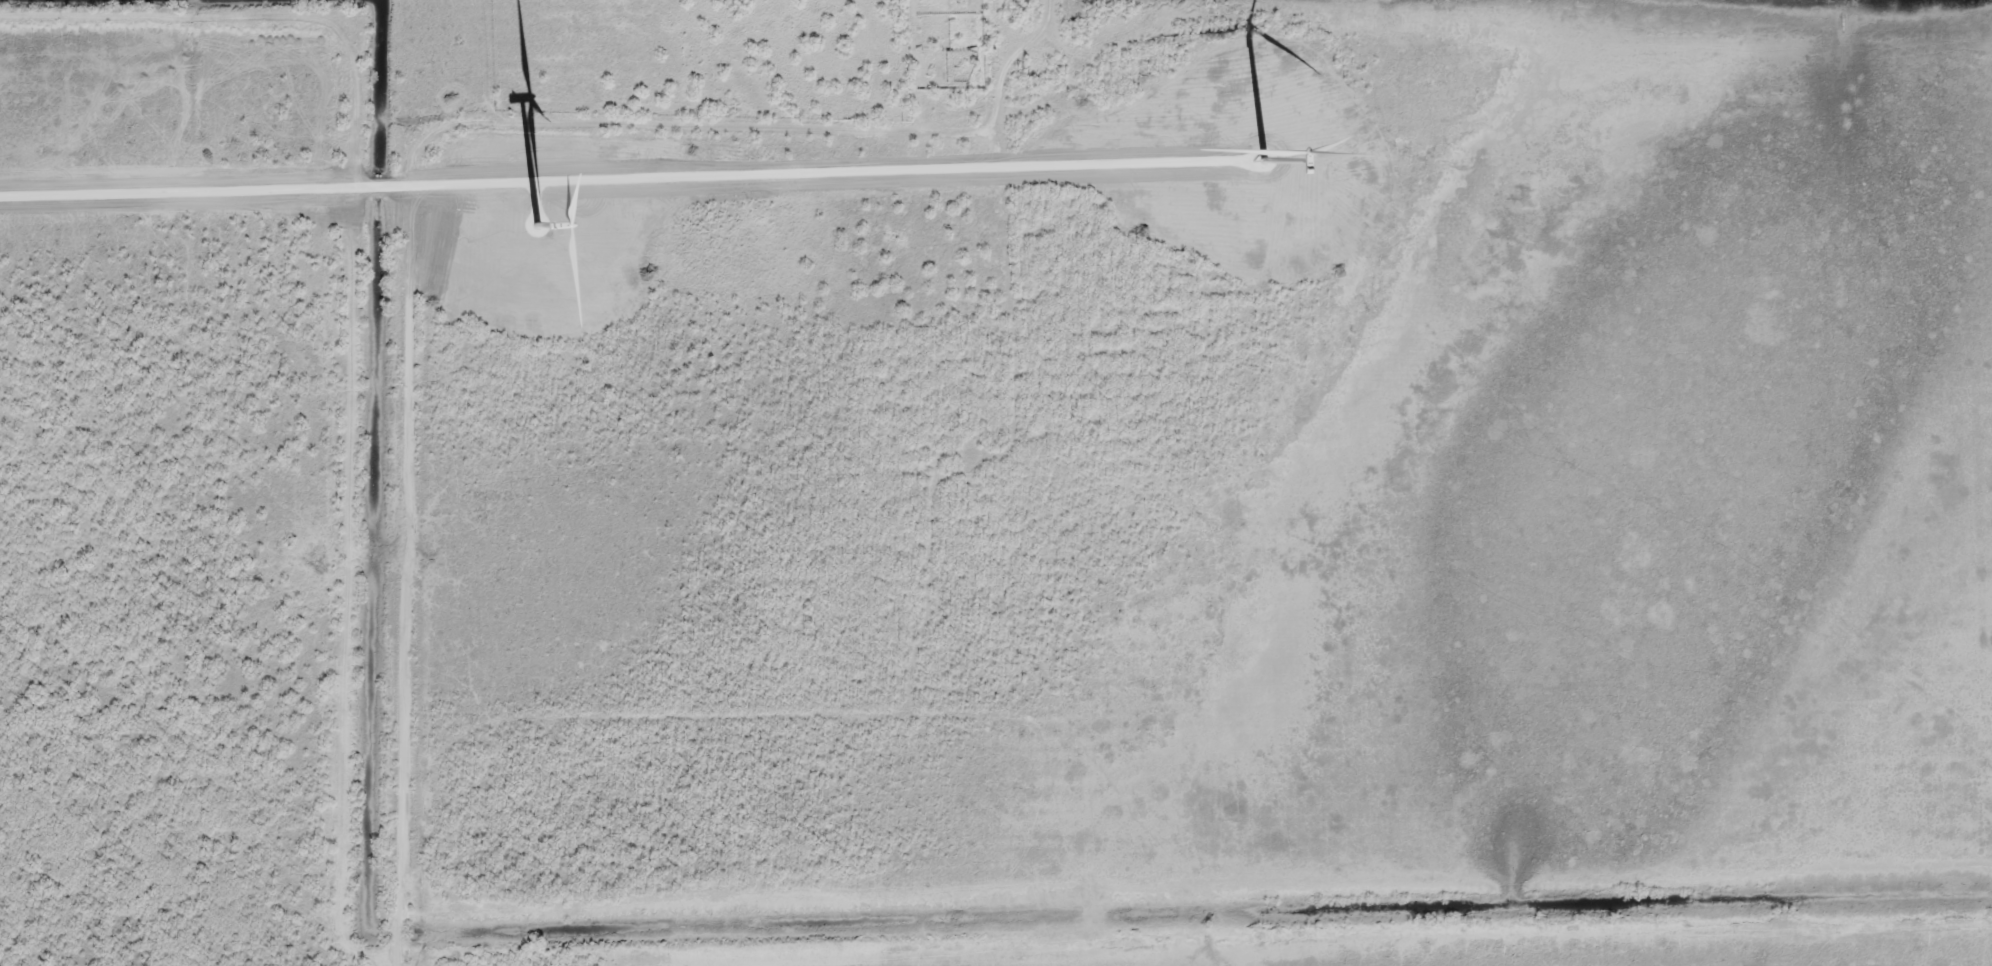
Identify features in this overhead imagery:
wind turbine: (1266, 160)
wind turbine: (539, 226)

